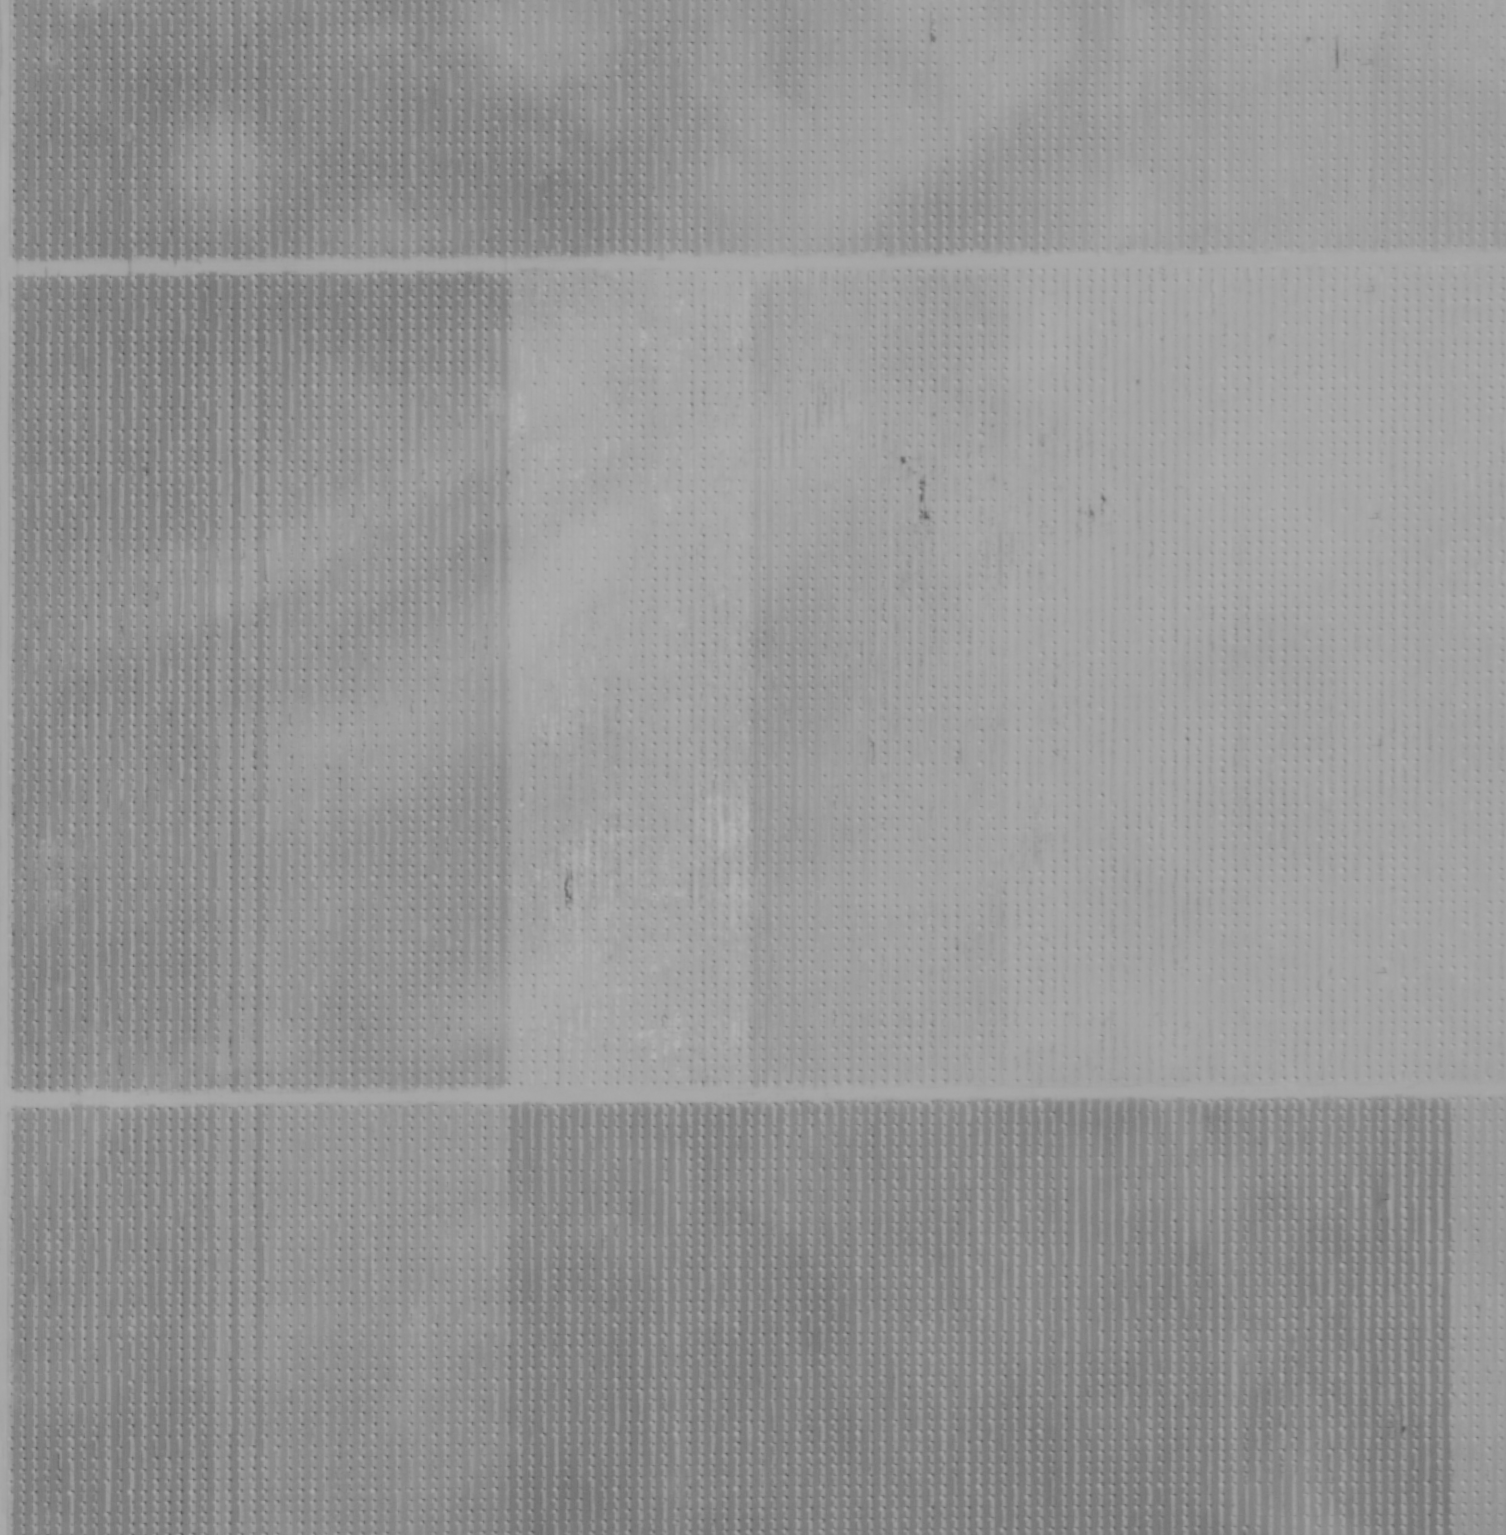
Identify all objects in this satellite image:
crop: (759, 768)
road: (1, 1465)

